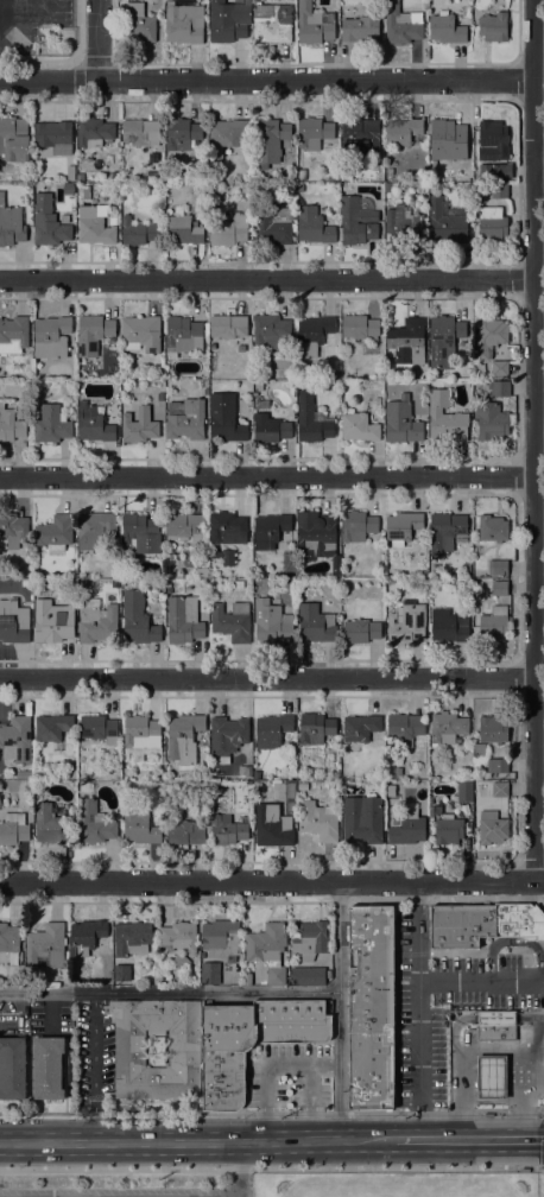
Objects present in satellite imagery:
building: (228, 20)
building: (183, 21)
building: (139, 23)
building: (272, 23)
building: (314, 24)
building: (401, 24)
building: (493, 26)
building: (445, 28)
building: (361, 30)
road: (97, 39)
road: (69, 63)
road: (266, 80)
building: (403, 131)
building: (94, 132)
building: (141, 132)
building: (181, 133)
building: (312, 133)
building: (445, 133)
building: (53, 135)
building: (359, 135)
building: (226, 137)
building: (13, 139)
building: (270, 141)
building: (492, 141)
building: (154, 156)
building: (377, 165)
building: (388, 170)
road: (538, 170)
building: (499, 171)
building: (69, 172)
building: (302, 173)
building: (115, 175)
building: (80, 177)
building: (27, 178)
building: (290, 186)
building: (387, 186)
building: (68, 188)
building: (299, 188)
building: (499, 190)
building: (358, 220)
building: (48, 222)
building: (444, 222)
building: (403, 223)
building: (11, 224)
building: (94, 224)
building: (492, 224)
building: (177, 226)
building: (272, 226)
building: (312, 226)
building: (228, 230)
building: (137, 232)
road: (265, 279)
building: (228, 325)
building: (360, 327)
building: (205, 330)
building: (271, 331)
building: (141, 332)
building: (13, 334)
building: (91, 334)
building: (314, 334)
building: (51, 336)
building: (182, 336)
building: (489, 336)
building: (443, 338)
building: (407, 341)
building: (499, 368)
building: (377, 381)
building: (183, 382)
building: (302, 382)
building: (330, 382)
building: (36, 384)
building: (258, 386)
building: (499, 388)
building: (159, 397)
building: (224, 418)
building: (445, 418)
building: (185, 419)
building: (311, 419)
building: (401, 422)
building: (491, 422)
building: (10, 424)
building: (51, 424)
building: (93, 424)
building: (139, 425)
building: (359, 427)
building: (271, 430)
road: (532, 439)
road: (266, 477)
building: (183, 524)
building: (356, 525)
building: (227, 527)
building: (401, 527)
building: (13, 528)
building: (95, 528)
building: (492, 528)
building: (270, 530)
building: (445, 531)
building: (53, 532)
building: (141, 533)
building: (316, 534)
building: (222, 555)
building: (466, 566)
building: (499, 566)
building: (38, 571)
building: (424, 574)
building: (26, 583)
building: (236, 584)
building: (499, 588)
building: (137, 619)
building: (183, 620)
building: (13, 621)
building: (232, 621)
building: (96, 622)
building: (271, 622)
building: (493, 622)
building: (315, 623)
building: (50, 625)
building: (406, 625)
building: (448, 626)
building: (360, 631)
road: (265, 678)
building: (360, 727)
building: (405, 727)
building: (447, 727)
building: (52, 728)
building: (97, 728)
building: (315, 728)
building: (493, 729)
building: (271, 730)
building: (141, 733)
building: (226, 737)
building: (15, 740)
building: (183, 740)
building: (479, 749)
building: (496, 765)
building: (398, 771)
building: (247, 772)
building: (26, 774)
building: (39, 774)
building: (257, 774)
building: (335, 775)
building: (378, 781)
building: (257, 786)
building: (498, 788)
building: (464, 791)
building: (394, 804)
building: (435, 810)
building: (362, 818)
building: (318, 821)
building: (94, 823)
building: (50, 825)
building: (272, 825)
building: (139, 826)
building: (13, 828)
building: (492, 828)
building: (227, 830)
building: (448, 830)
building: (407, 831)
building: (185, 832)
road: (529, 876)
road: (272, 881)
building: (483, 925)
building: (86, 936)
building: (177, 936)
building: (131, 938)
building: (311, 939)
building: (222, 940)
building: (10, 942)
building: (265, 943)
road: (514, 944)
building: (45, 945)
building: (181, 961)
building: (13, 971)
building: (209, 971)
building: (121, 973)
building: (327, 974)
building: (276, 975)
building: (308, 976)
road: (480, 980)
building: (247, 981)
road: (169, 993)
road: (339, 1011)
building: (372, 1011)
road: (417, 1011)
building: (496, 1026)
building: (251, 1043)
building: (184, 1051)
road: (94, 1066)
building: (12, 1068)
building: (48, 1068)
road: (266, 1068)
building: (491, 1077)
road: (311, 1102)
road: (272, 1113)
road: (469, 1139)
road: (197, 1141)
road: (272, 1167)
road: (240, 1172)
park: (392, 1184)
road: (240, 1191)

